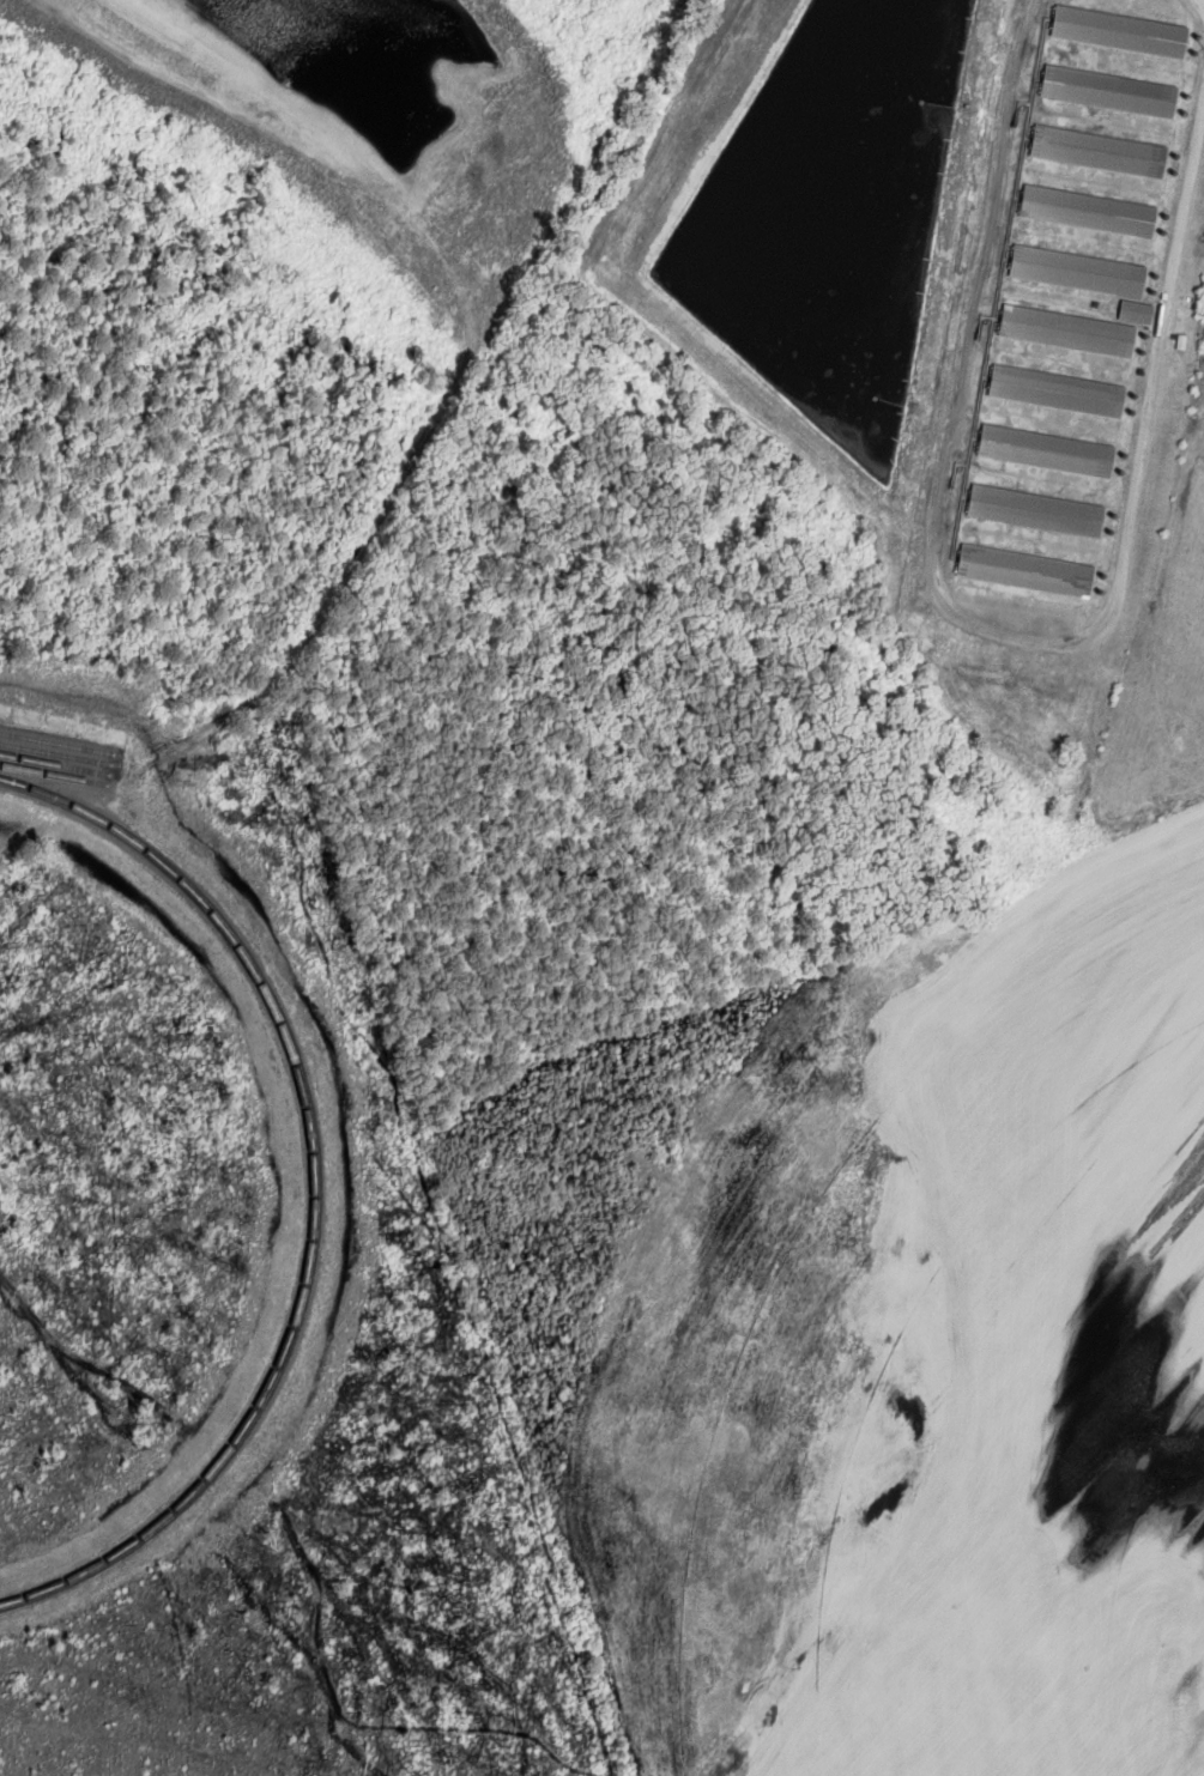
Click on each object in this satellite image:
road: (1202, 2)
building: (1121, 31)
building: (1111, 90)
building: (1101, 151)
building: (1090, 211)
building: (1079, 271)
building: (1138, 311)
building: (1069, 329)
building: (1058, 390)
building: (1048, 450)
building: (1037, 510)
building: (1025, 570)
road: (986, 628)

